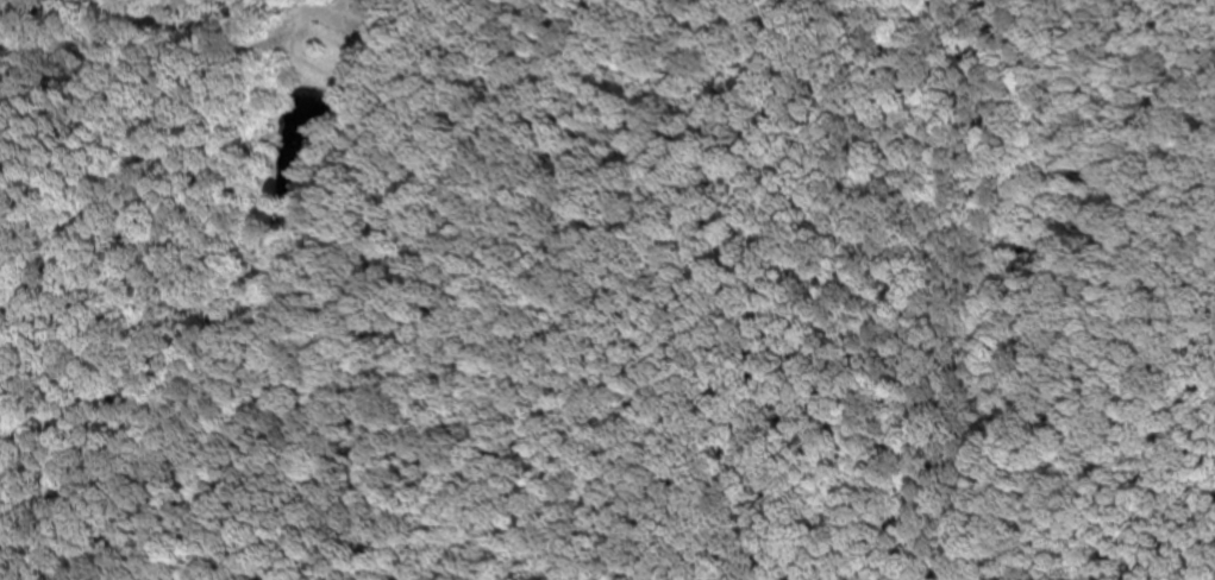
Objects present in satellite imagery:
road: (148, 151)

